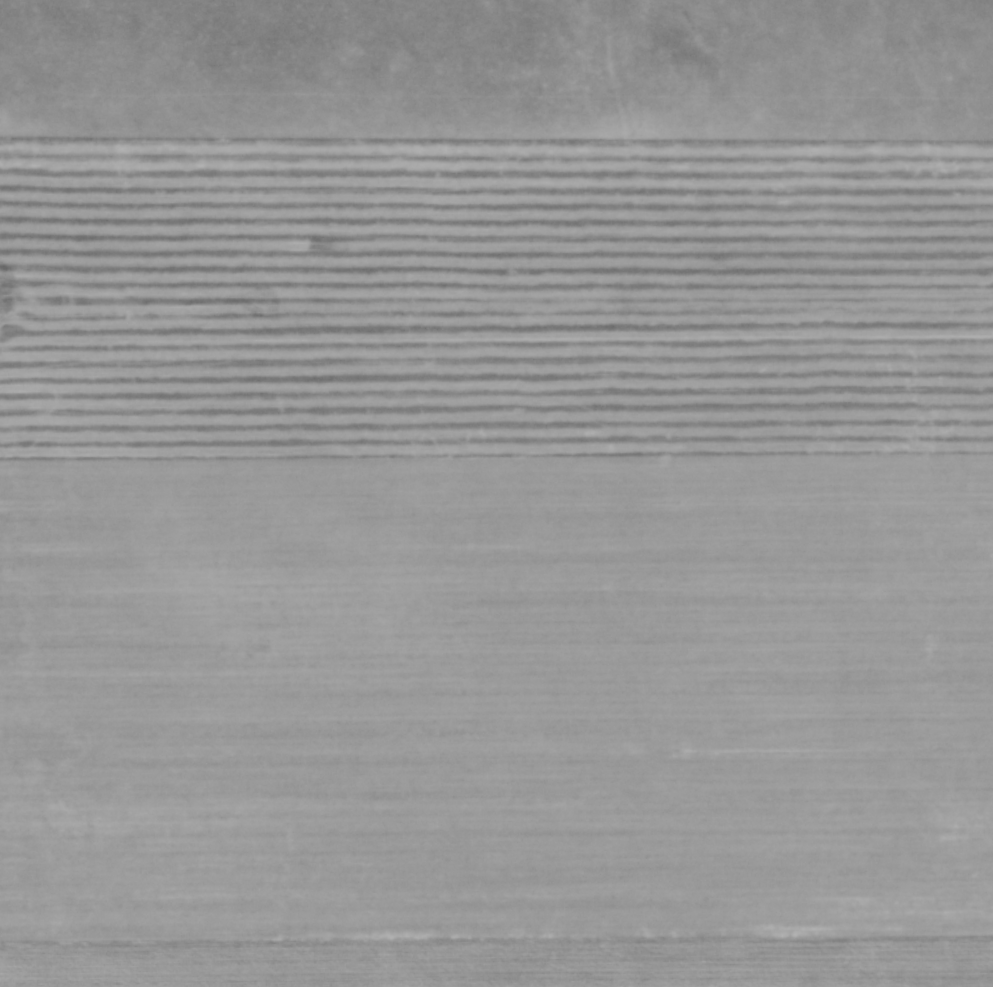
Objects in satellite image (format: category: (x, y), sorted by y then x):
crop: (505, 962)

